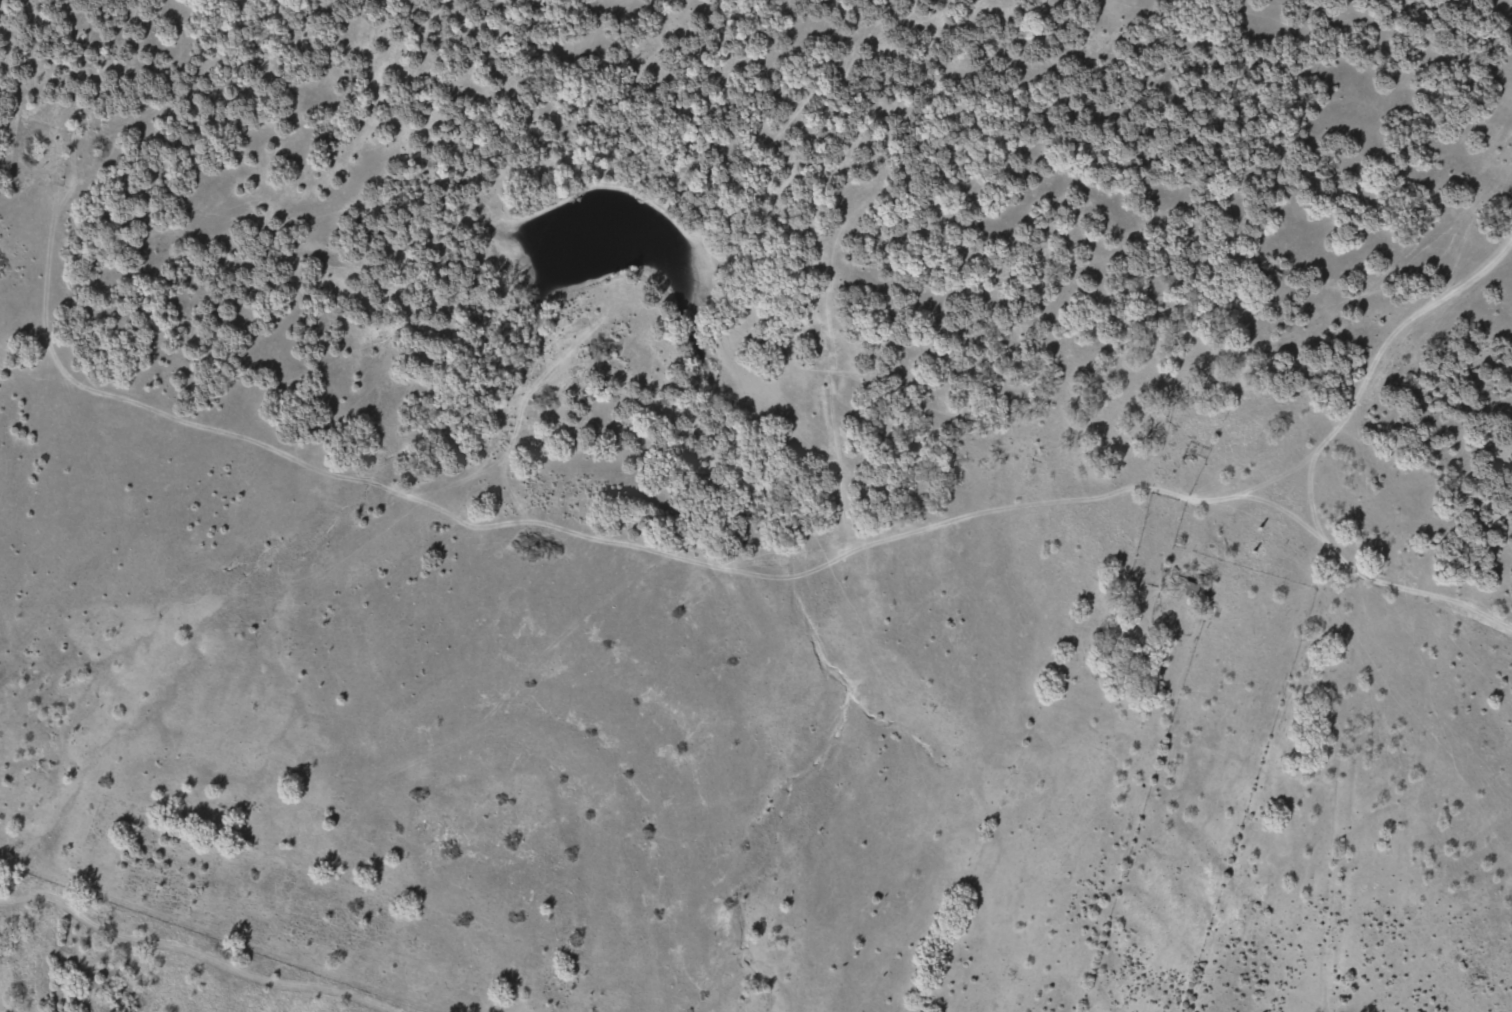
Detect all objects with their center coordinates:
building: (1185, 581)

